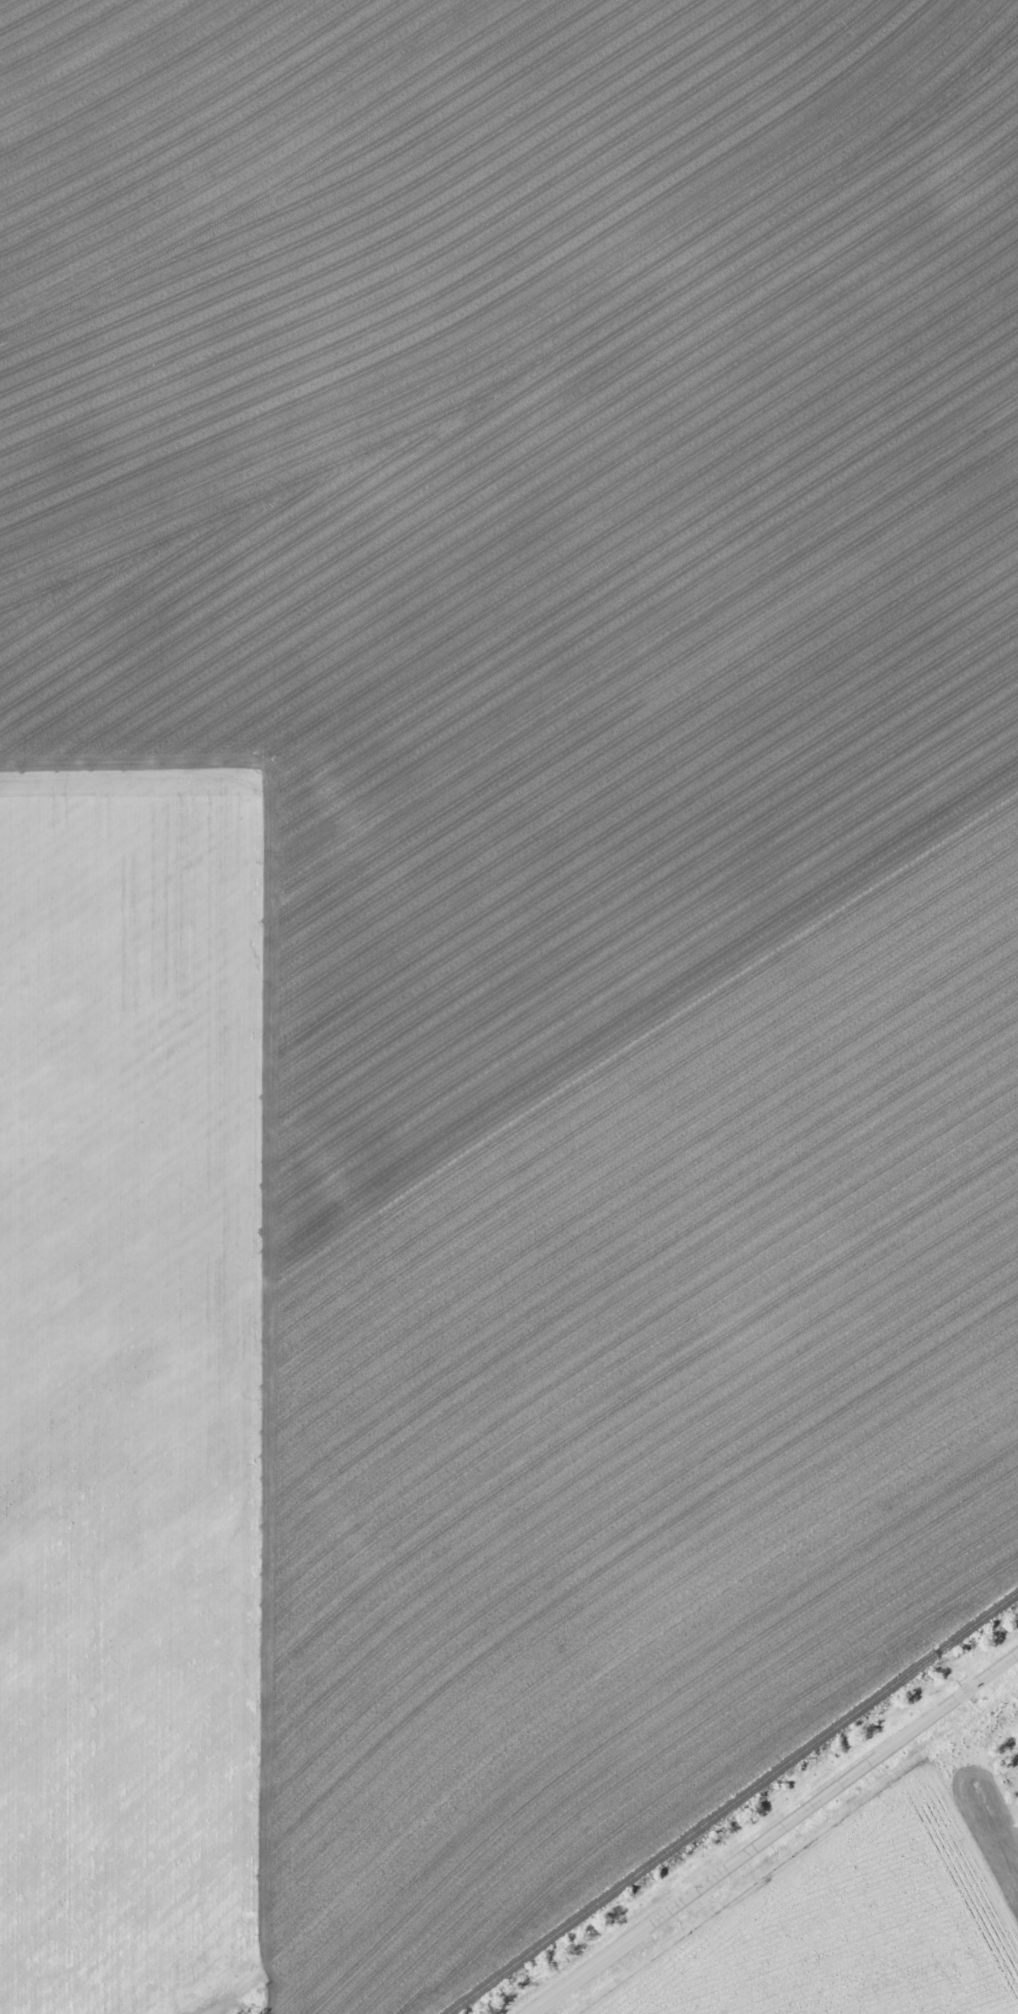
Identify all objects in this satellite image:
railway: (731, 1802)
road: (772, 1832)

